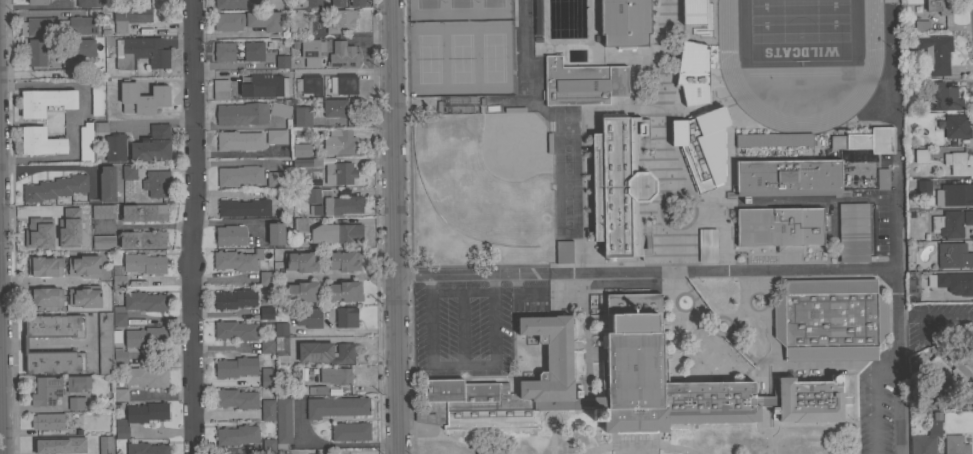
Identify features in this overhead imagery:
building: (36, 2)
building: (889, 2)
building: (87, 3)
building: (229, 3)
building: (310, 3)
building: (337, 3)
building: (357, 3)
building: (926, 6)
building: (938, 6)
building: (691, 12)
building: (129, 16)
building: (247, 21)
building: (340, 21)
building: (624, 22)
building: (921, 25)
building: (57, 26)
park: (796, 31)
road: (227, 34)
park: (459, 47)
building: (78, 48)
park: (459, 48)
building: (253, 50)
road: (521, 50)
building: (223, 51)
building: (36, 52)
building: (140, 52)
building: (309, 53)
building: (936, 53)
building: (342, 56)
track: (798, 57)
building: (282, 61)
building: (692, 72)
building: (582, 83)
building: (343, 84)
building: (263, 85)
building: (310, 85)
building: (220, 89)
building: (97, 97)
building: (142, 98)
building: (945, 98)
building: (44, 101)
building: (332, 107)
building: (280, 110)
building: (241, 114)
building: (302, 116)
road: (77, 117)
building: (956, 126)
building: (100, 127)
building: (669, 132)
building: (276, 136)
building: (238, 140)
building: (740, 140)
building: (866, 140)
building: (39, 141)
building: (85, 142)
building: (342, 142)
building: (152, 144)
building: (701, 146)
building: (114, 147)
building: (298, 151)
building: (921, 156)
building: (309, 161)
building: (956, 163)
building: (129, 172)
building: (339, 172)
park: (565, 173)
building: (239, 175)
building: (786, 177)
building: (276, 178)
building: (882, 178)
building: (106, 183)
building: (157, 183)
building: (617, 185)
building: (923, 187)
building: (54, 188)
park: (485, 188)
building: (954, 194)
building: (329, 202)
building: (243, 207)
building: (102, 211)
building: (78, 212)
building: (144, 212)
building: (967, 216)
building: (948, 223)
building: (300, 224)
road: (144, 226)
road: (192, 226)
road: (390, 226)
building: (779, 227)
building: (852, 232)
building: (275, 233)
building: (334, 233)
building: (32, 235)
building: (230, 235)
building: (53, 237)
building: (142, 239)
building: (103, 242)
building: (707, 245)
building: (559, 252)
building: (953, 255)
building: (236, 260)
building: (343, 260)
building: (301, 261)
building: (144, 263)
building: (44, 266)
building: (84, 266)
road: (664, 274)
building: (265, 278)
building: (118, 281)
building: (955, 282)
building: (909, 286)
building: (302, 291)
building: (343, 291)
road: (459, 293)
road: (520, 295)
building: (84, 296)
building: (44, 297)
building: (234, 298)
building: (142, 302)
building: (266, 312)
building: (309, 317)
building: (345, 317)
building: (118, 319)
building: (829, 319)
parking lot: (468, 324)
building: (235, 330)
building: (143, 336)
building: (280, 338)
road: (342, 338)
building: (104, 343)
building: (24, 344)
building: (266, 346)
road: (894, 349)
building: (325, 352)
building: (119, 355)
building: (633, 357)
road: (460, 365)
building: (235, 367)
building: (936, 370)
building: (335, 375)
building: (144, 376)
building: (266, 377)
building: (77, 383)
building: (316, 390)
building: (45, 391)
building: (120, 394)
building: (236, 398)
building: (808, 400)
road: (871, 401)
building: (76, 402)
building: (336, 406)
building: (267, 409)
building: (140, 416)
building: (283, 420)
building: (47, 421)
building: (350, 431)
building: (236, 435)
road: (0, 436)
building: (65, 444)
road: (329, 444)
building: (923, 444)
building: (101, 445)
building: (955, 445)
building: (268, 446)
building: (146, 448)
building: (283, 452)

